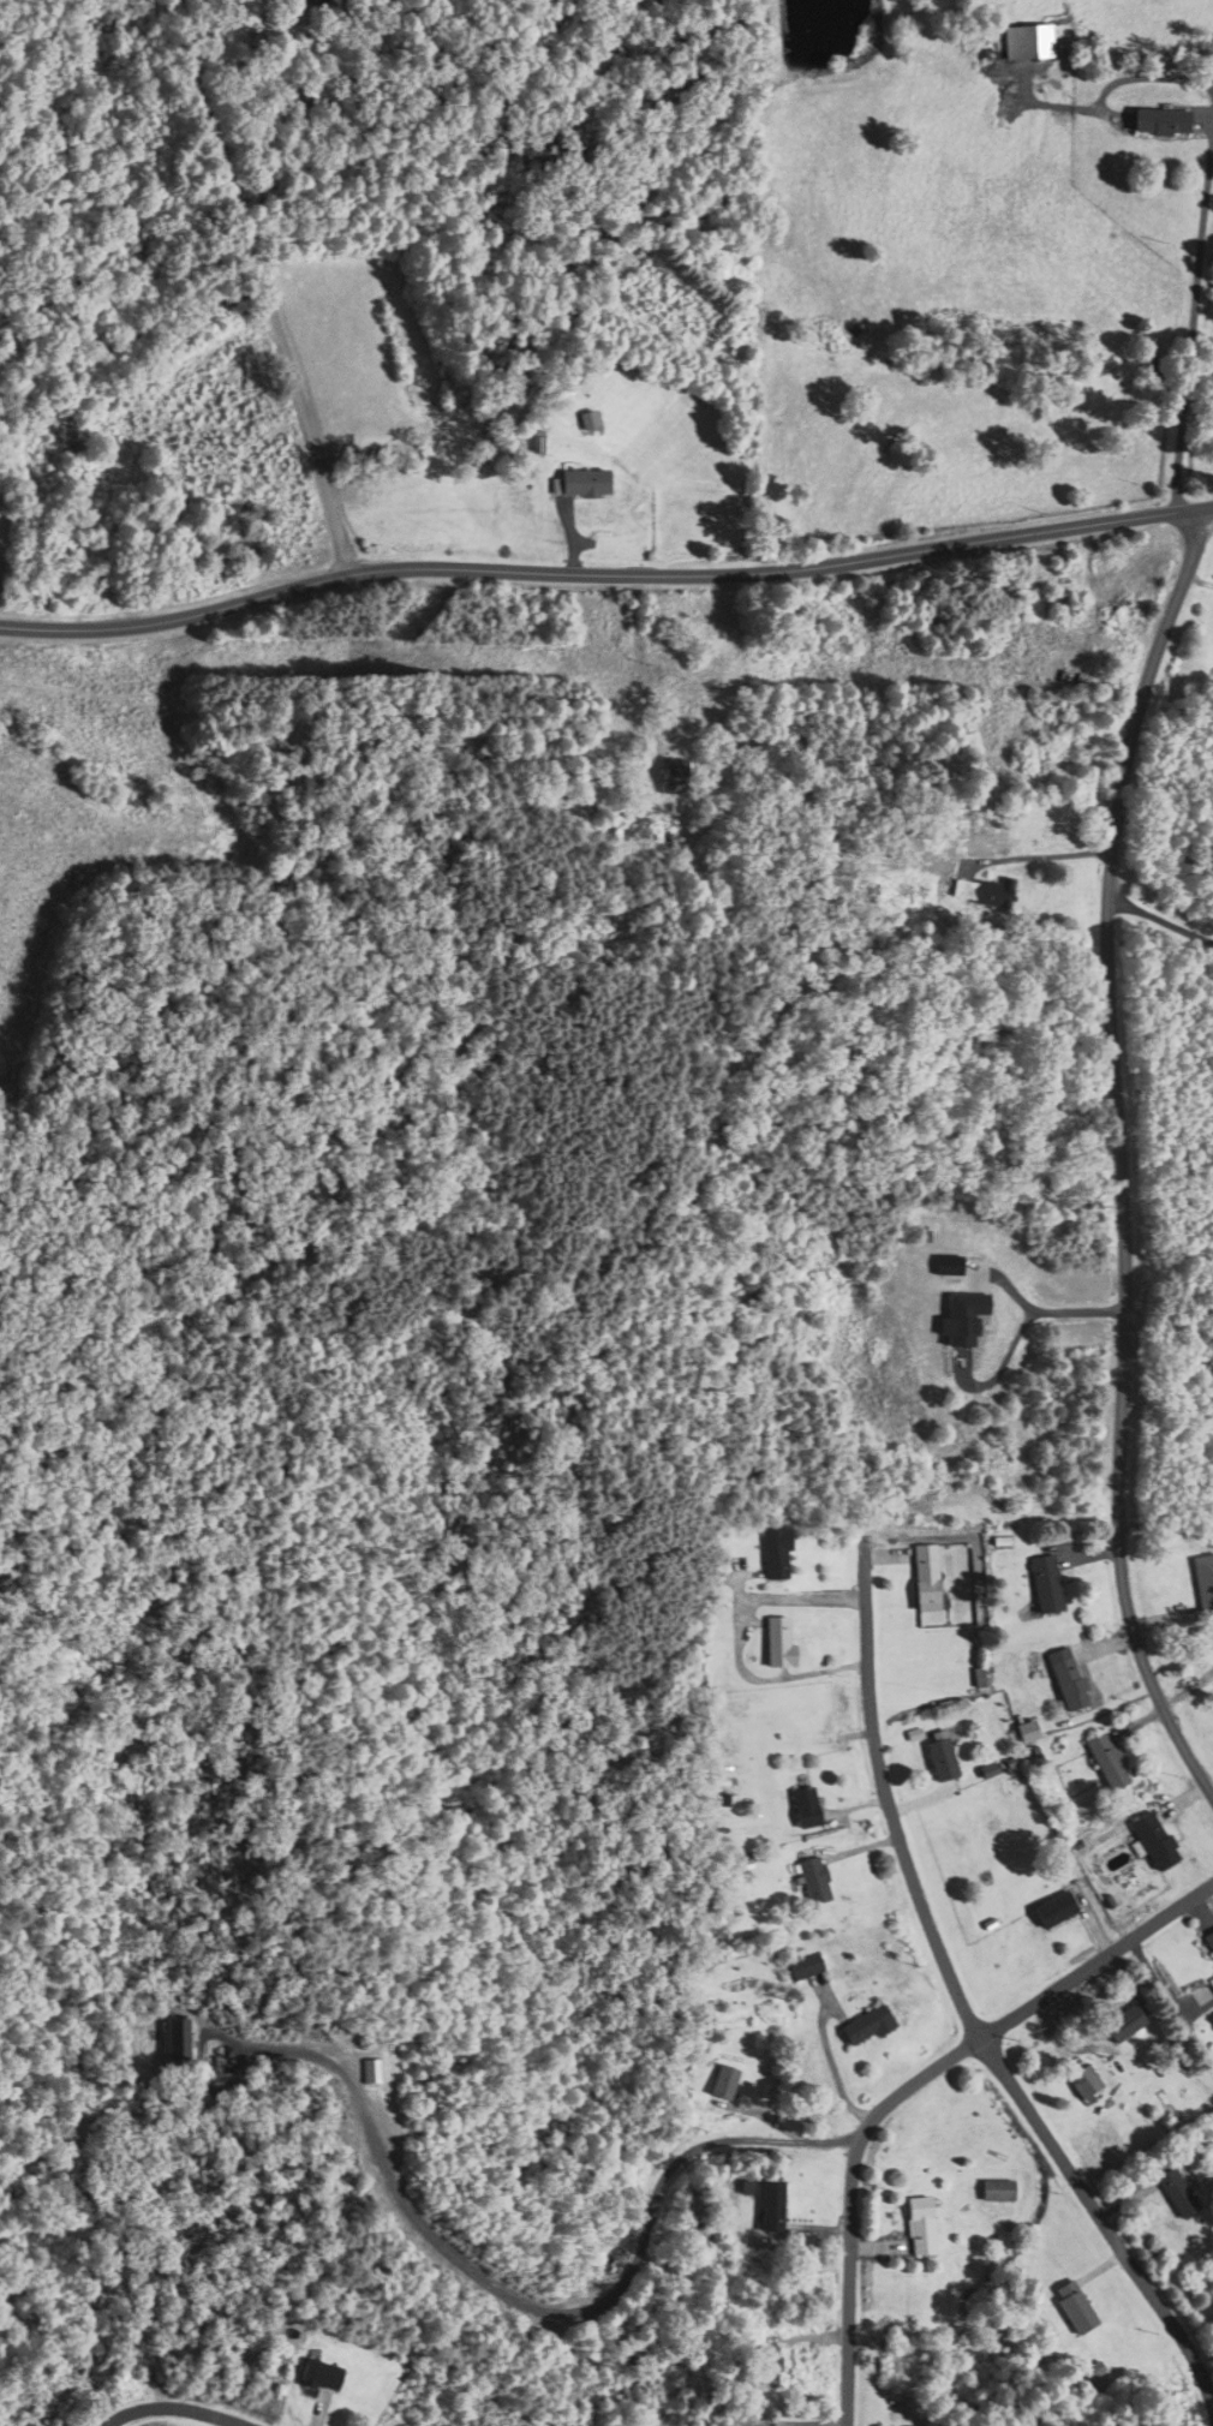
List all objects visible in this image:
building: (304, 1)
building: (1023, 41)
road: (1149, 77)
building: (1158, 120)
road: (269, 285)
road: (1191, 327)
building: (585, 422)
building: (580, 484)
road: (605, 570)
building: (1058, 608)
road: (1036, 856)
building: (991, 895)
road: (1159, 919)
road: (1109, 1016)
building: (773, 1554)
building: (924, 1574)
building: (1042, 1587)
building: (1202, 1588)
building: (776, 1644)
road: (1145, 1673)
building: (1065, 1685)
building: (1023, 1734)
building: (938, 1759)
building: (1103, 1761)
road: (890, 1807)
building: (801, 1810)
building: (1151, 1842)
building: (811, 1883)
building: (1048, 1914)
road: (1128, 1941)
building: (1208, 1943)
building: (803, 1968)
building: (1211, 1984)
building: (1121, 2026)
building: (864, 2028)
building: (169, 2040)
road: (832, 2071)
building: (719, 2083)
building: (1081, 2084)
road: (853, 2164)
building: (994, 2191)
building: (1175, 2192)
building: (765, 2205)
road: (1103, 2224)
building: (918, 2227)
road: (534, 2305)
building: (1070, 2307)
building: (313, 2376)
road: (173, 2408)

